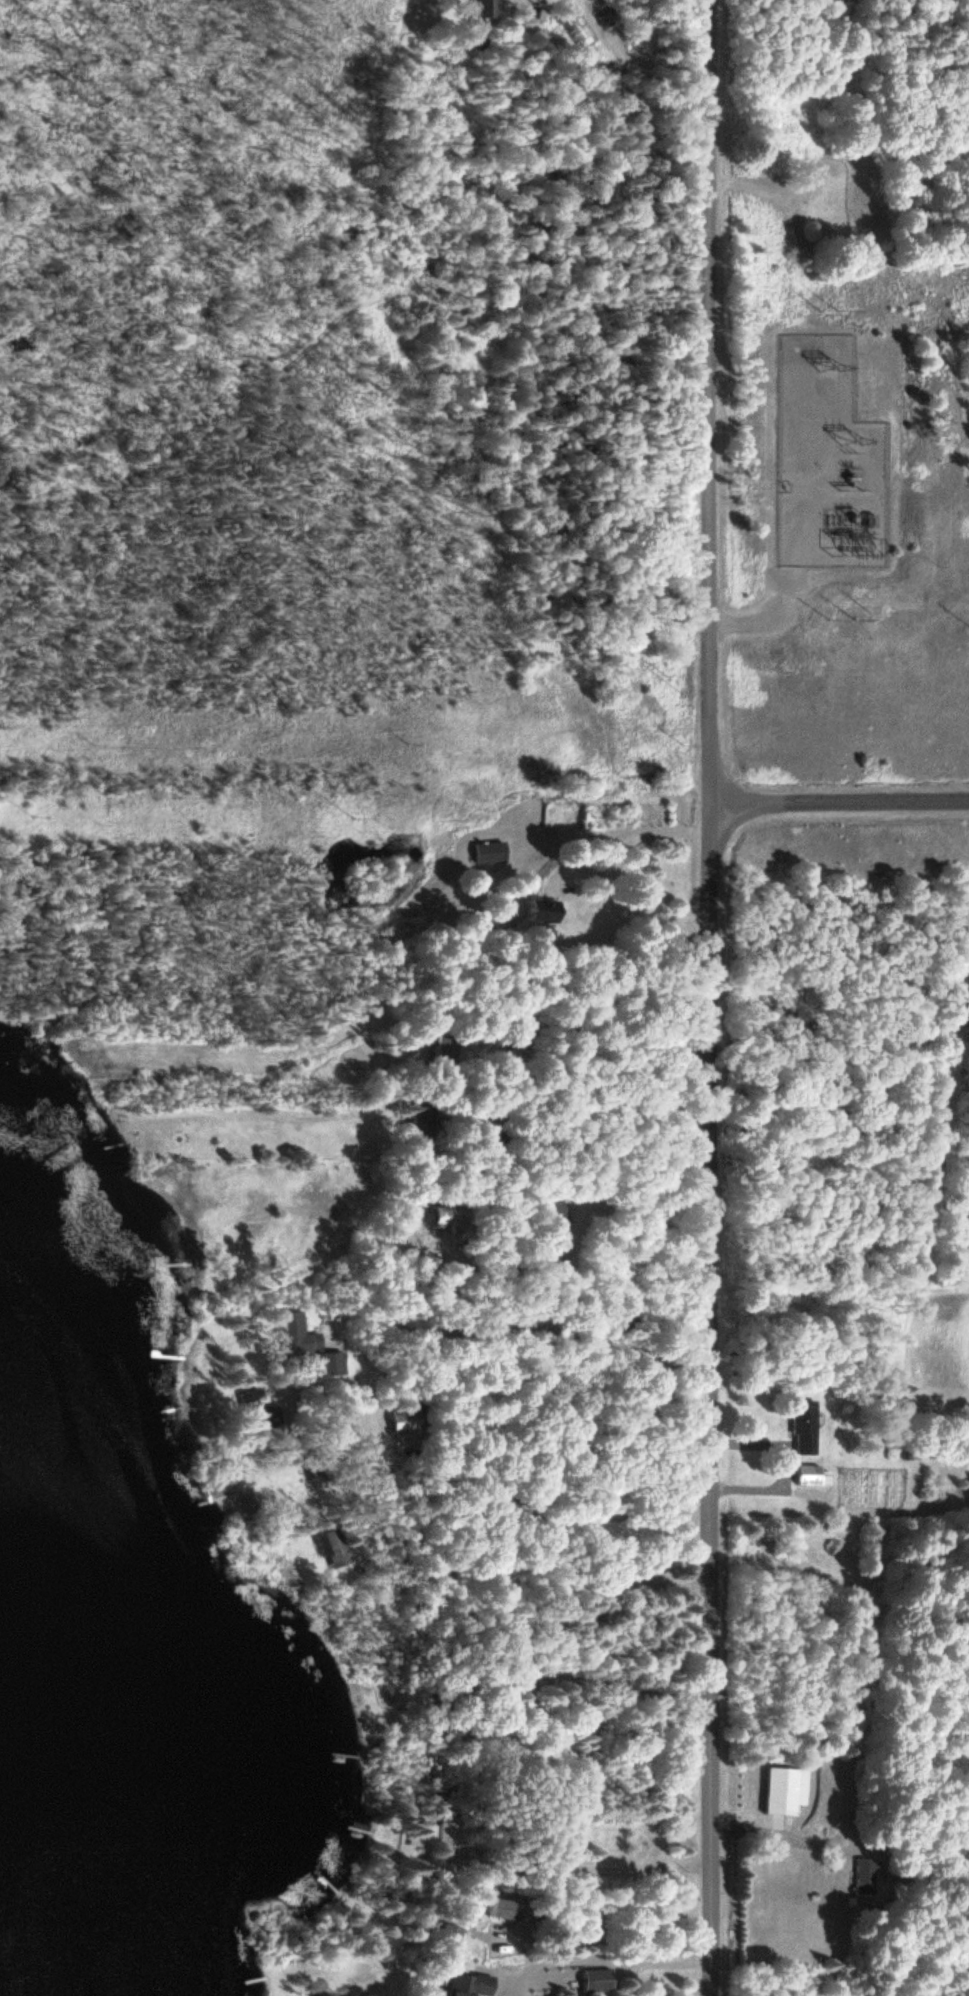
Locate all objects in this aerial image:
building: (483, 8)
power tower: (834, 366)
power substation: (830, 461)
road: (839, 805)
building: (487, 854)
building: (538, 911)
road: (710, 997)
building: (442, 1052)
building: (513, 1058)
road: (470, 1092)
building: (420, 1119)
building: (547, 1214)
road: (502, 1267)
road: (559, 1330)
building: (306, 1346)
building: (405, 1417)
building: (802, 1429)
building: (808, 1477)
road: (560, 1507)
road: (562, 1545)
building: (336, 1548)
building: (657, 1563)
road: (547, 1568)
road: (634, 1733)
building: (781, 1791)
building: (440, 1835)
road: (577, 1857)
building: (863, 1877)
building: (494, 1912)
road: (612, 1927)
building: (447, 1939)
building: (592, 1981)
building: (463, 1985)

